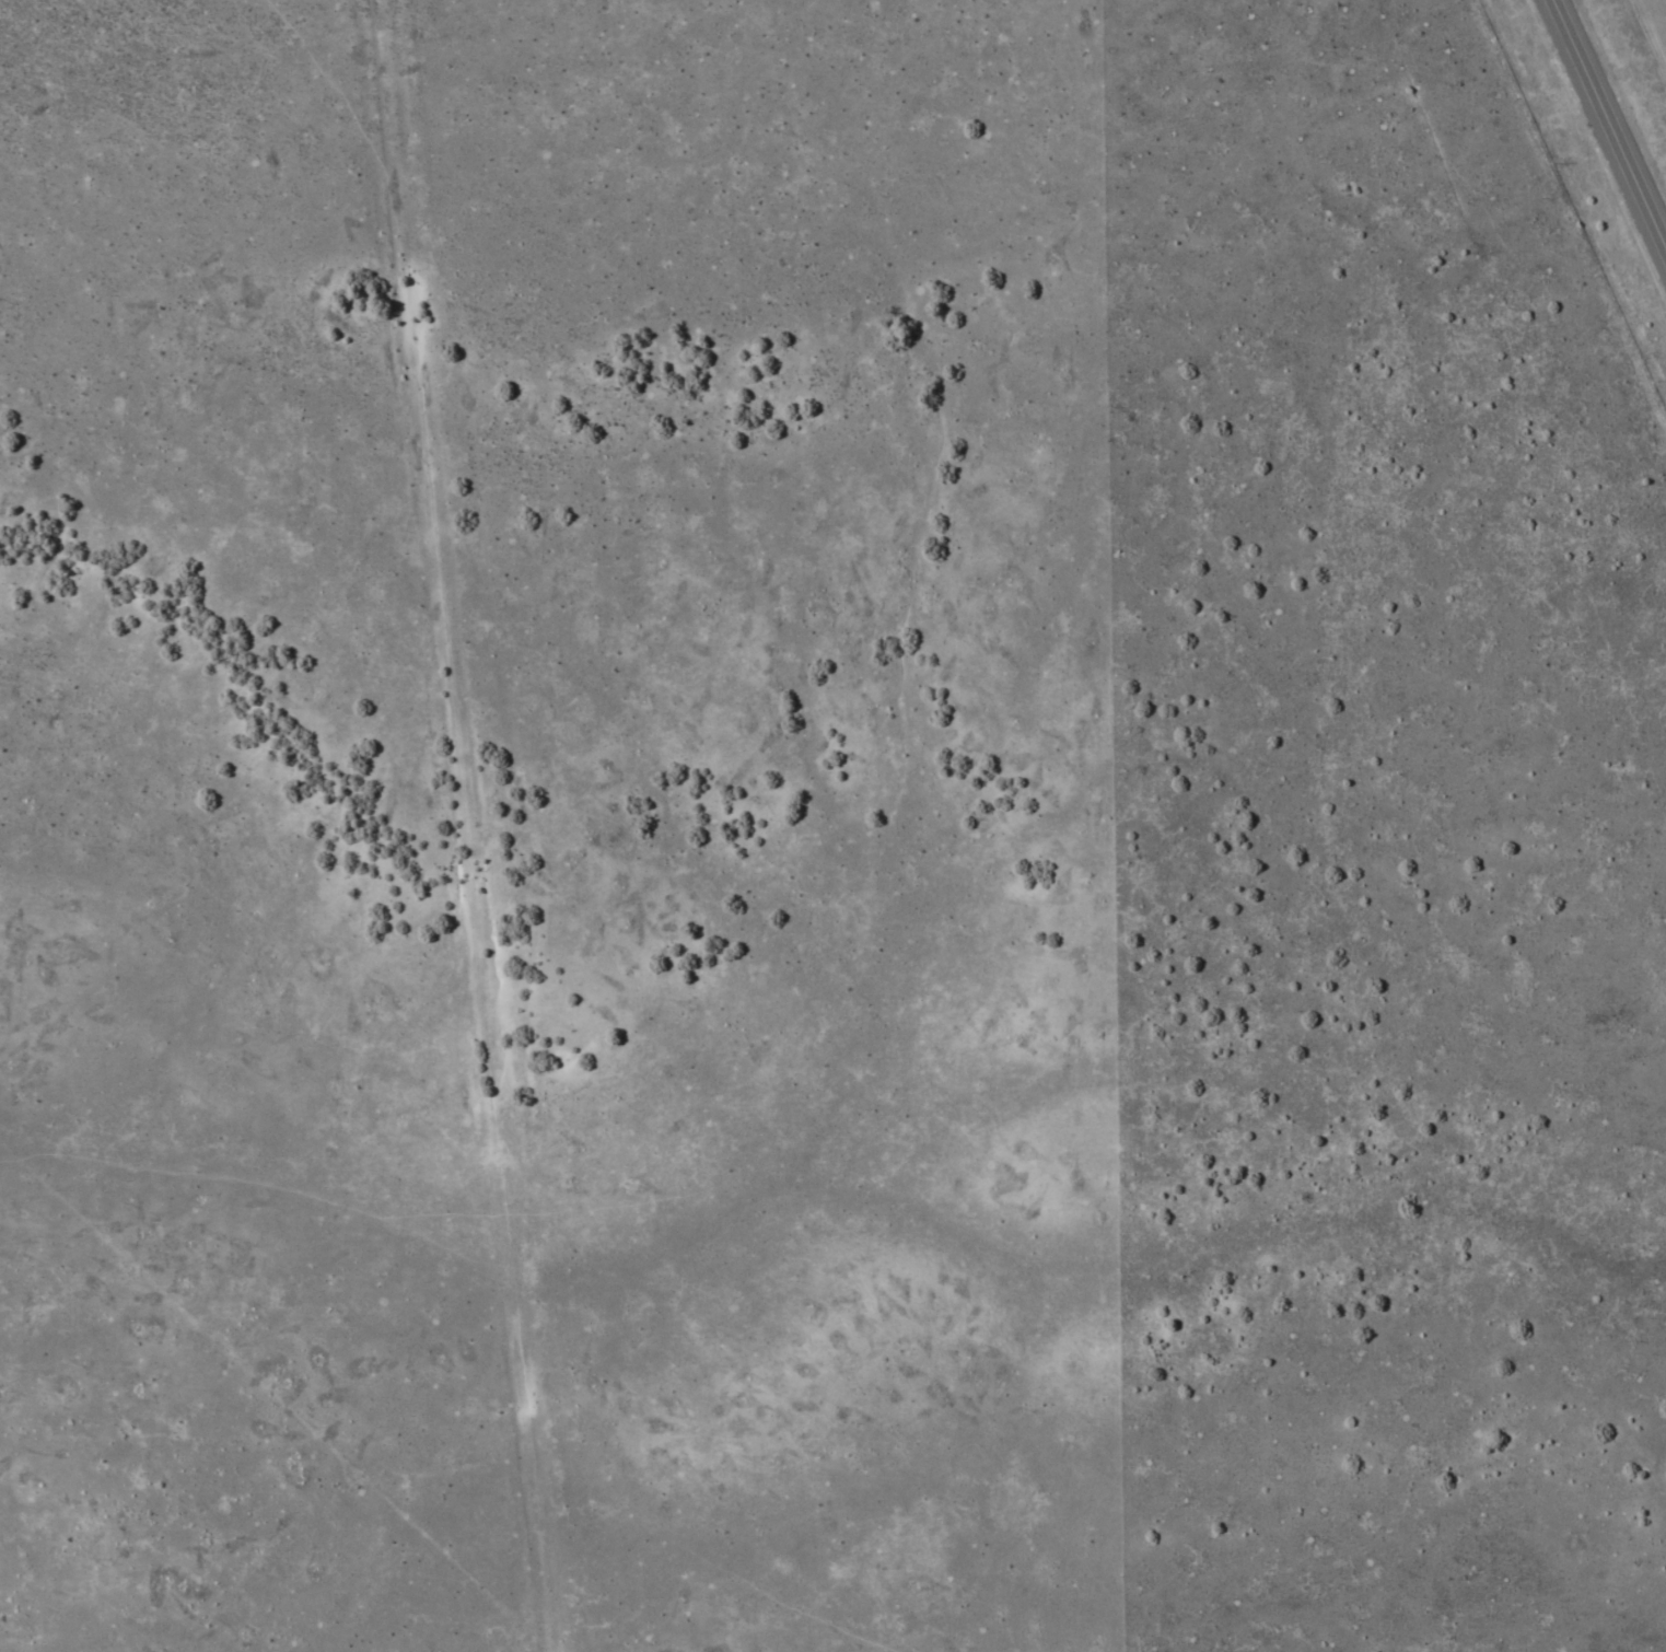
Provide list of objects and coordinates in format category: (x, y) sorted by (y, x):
road: (1607, 129)

